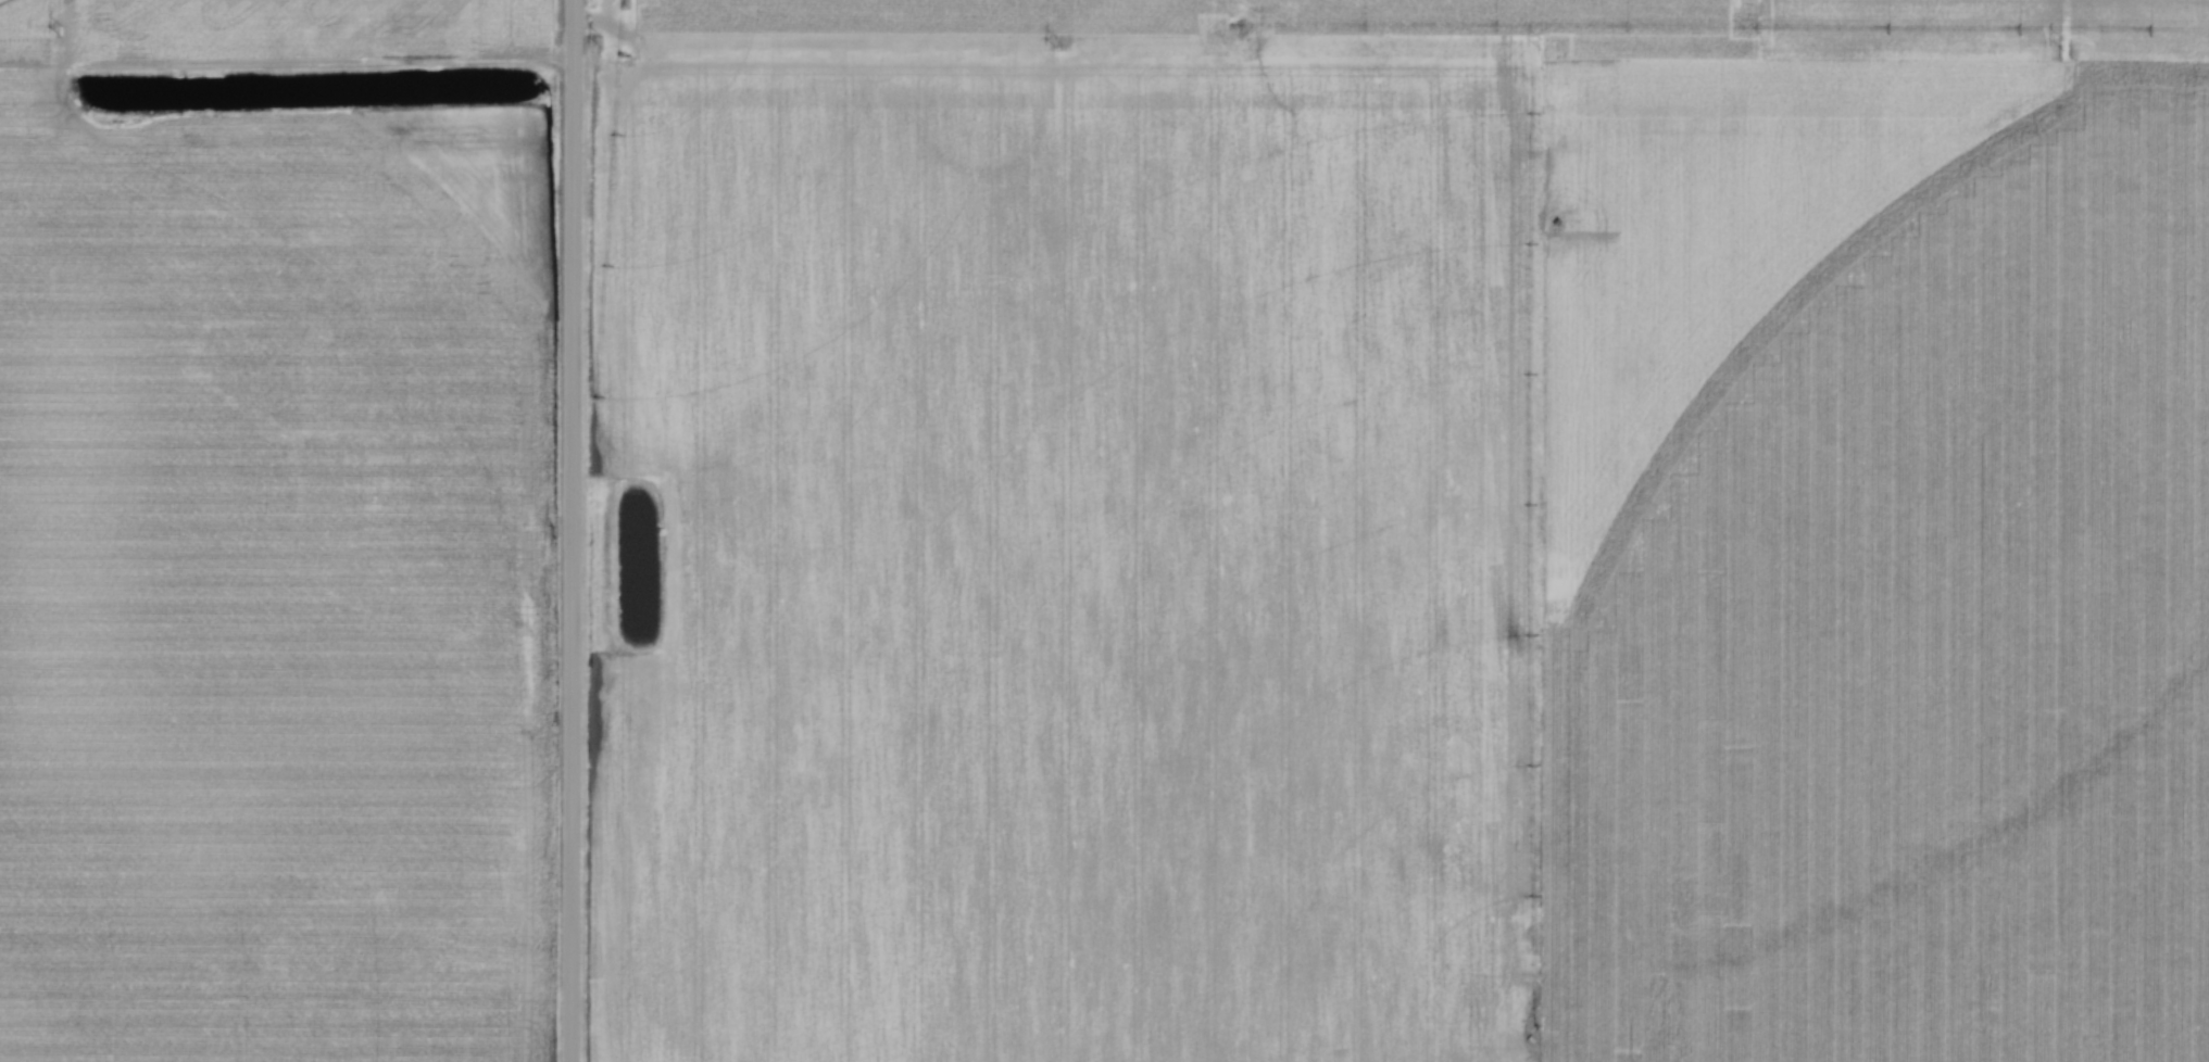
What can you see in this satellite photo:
power tower: (62, 29)
power tower: (601, 42)
power tower: (1056, 42)
power tower: (1540, 45)
power tower: (2059, 46)
road: (858, 48)
road: (572, 531)

